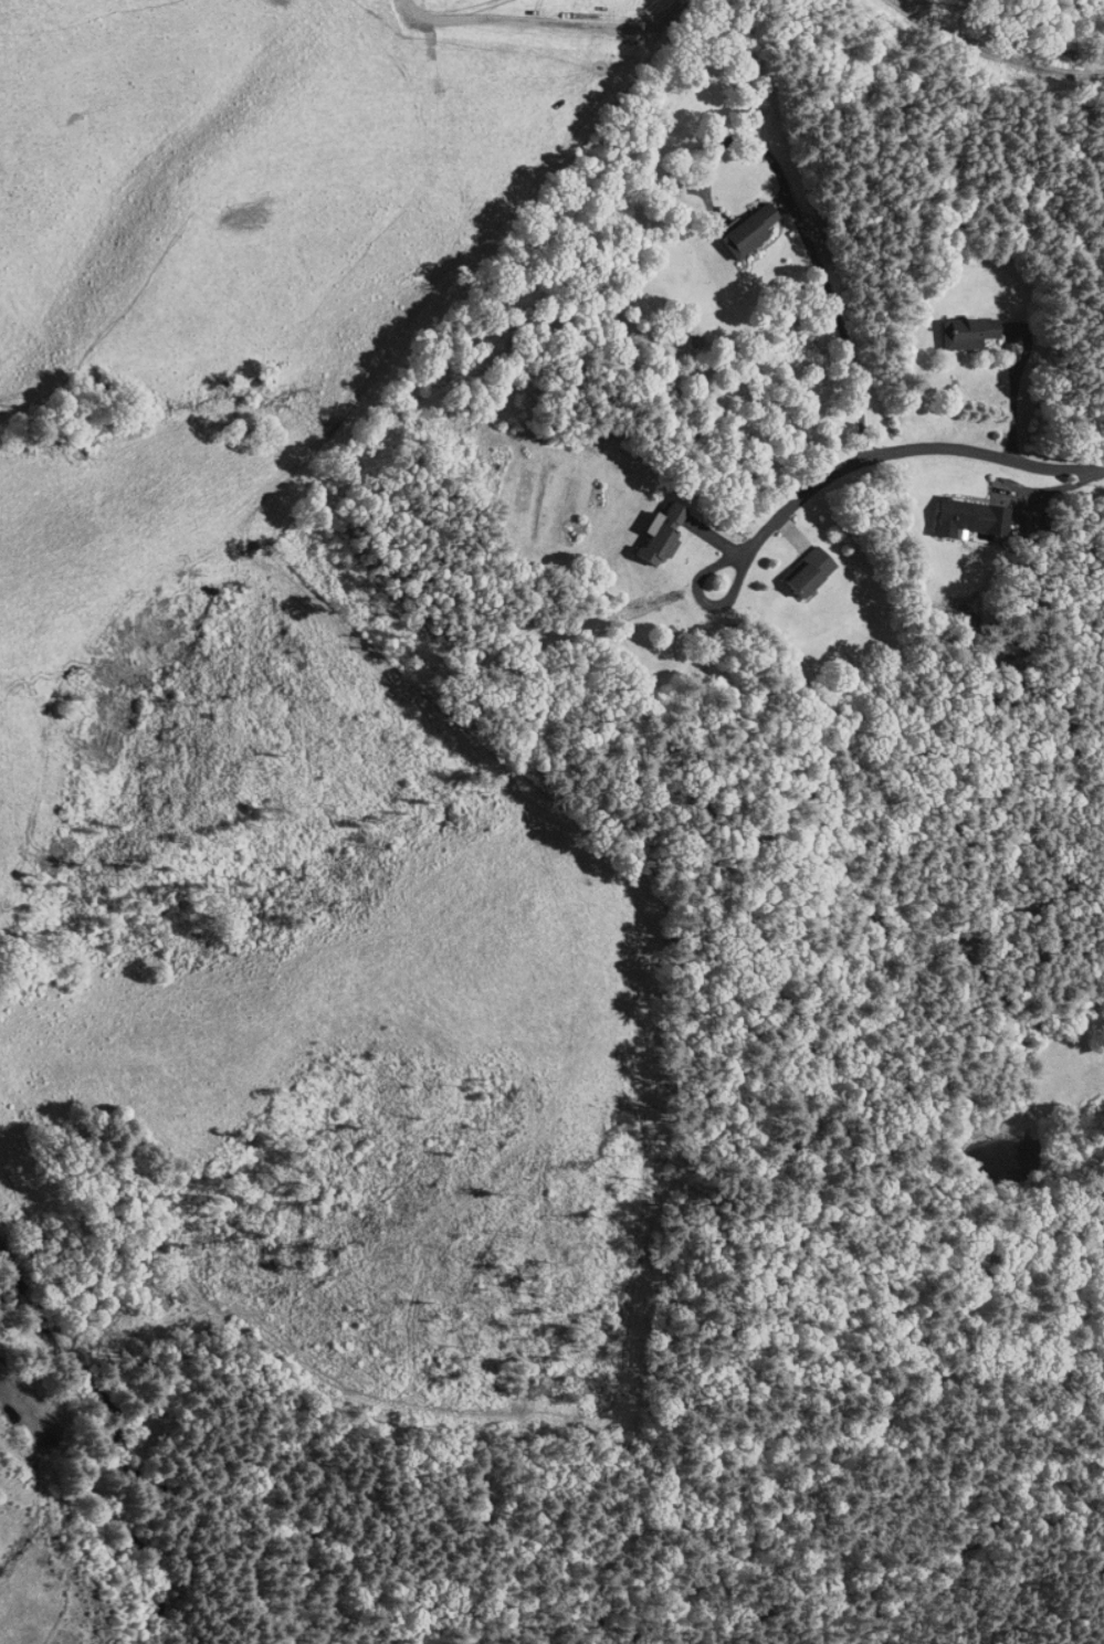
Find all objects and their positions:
road: (812, 254)
road: (913, 449)
road: (703, 599)

